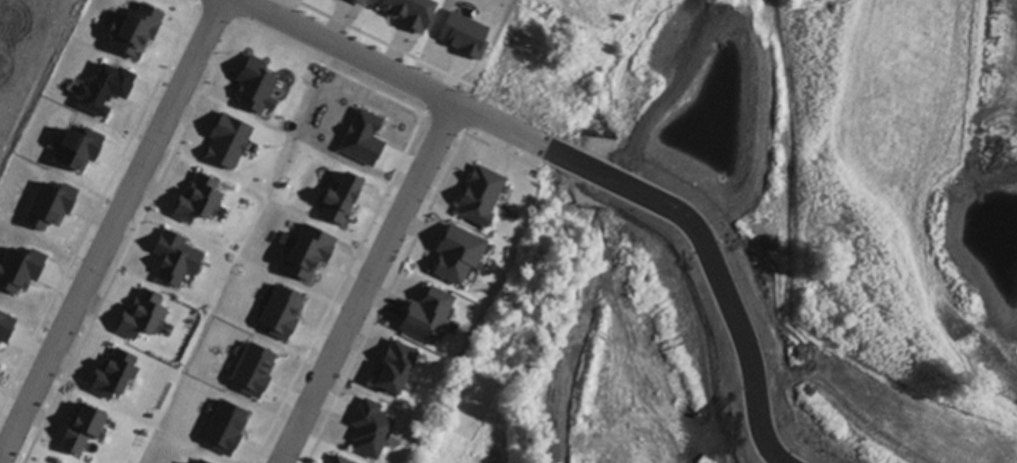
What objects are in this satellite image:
building: (356, 3)
building: (409, 14)
building: (136, 33)
building: (464, 39)
building: (255, 89)
building: (105, 92)
building: (364, 141)
building: (228, 144)
building: (79, 152)
road: (581, 167)
building: (480, 199)
building: (341, 202)
building: (199, 204)
building: (50, 209)
road: (113, 231)
building: (308, 256)
building: (457, 258)
building: (176, 262)
building: (21, 273)
road: (368, 285)
building: (281, 315)
building: (143, 319)
building: (428, 320)
building: (6, 331)
building: (395, 370)
building: (255, 374)
building: (114, 378)
building: (226, 431)
building: (84, 432)
building: (372, 433)
building: (338, 461)
building: (200, 462)

